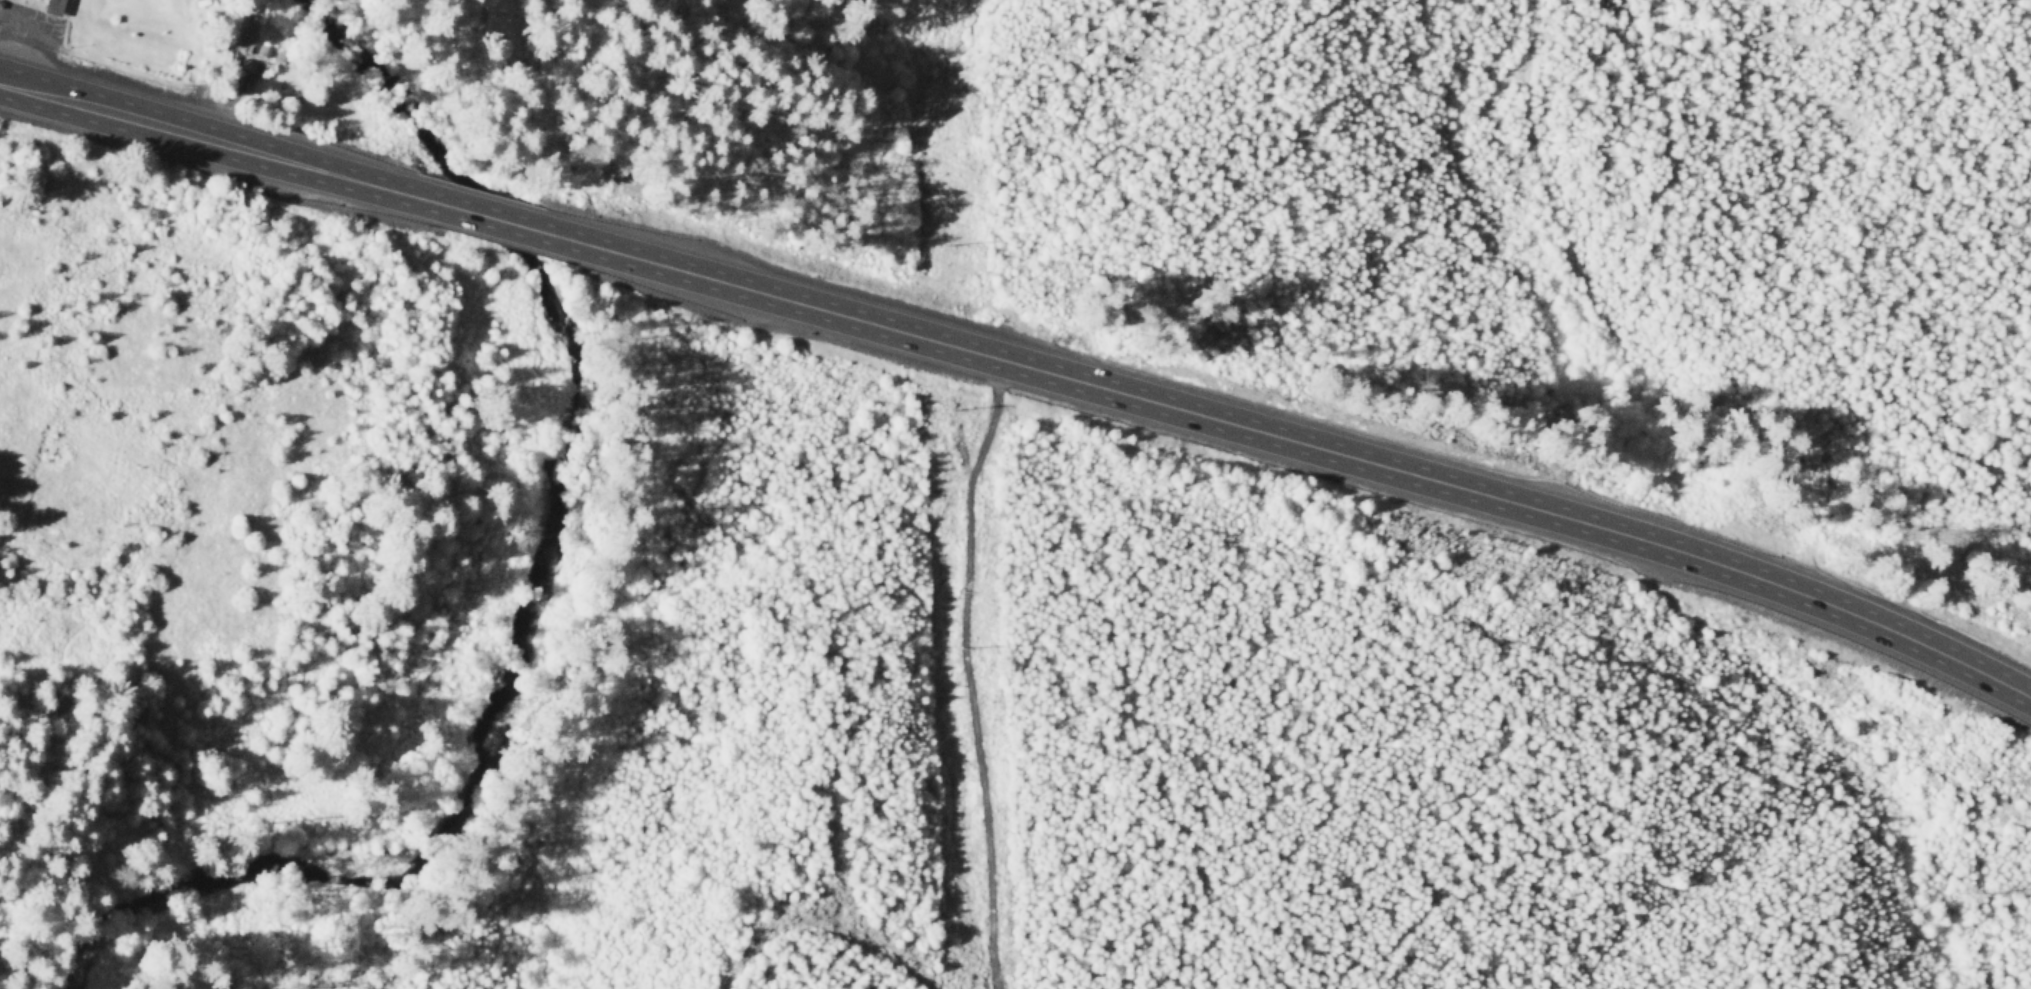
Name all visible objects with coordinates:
building: (56, 5)
road: (36, 85)
road: (238, 143)
road: (472, 211)
road: (1294, 440)
river: (514, 605)
road: (972, 671)
road: (823, 919)

